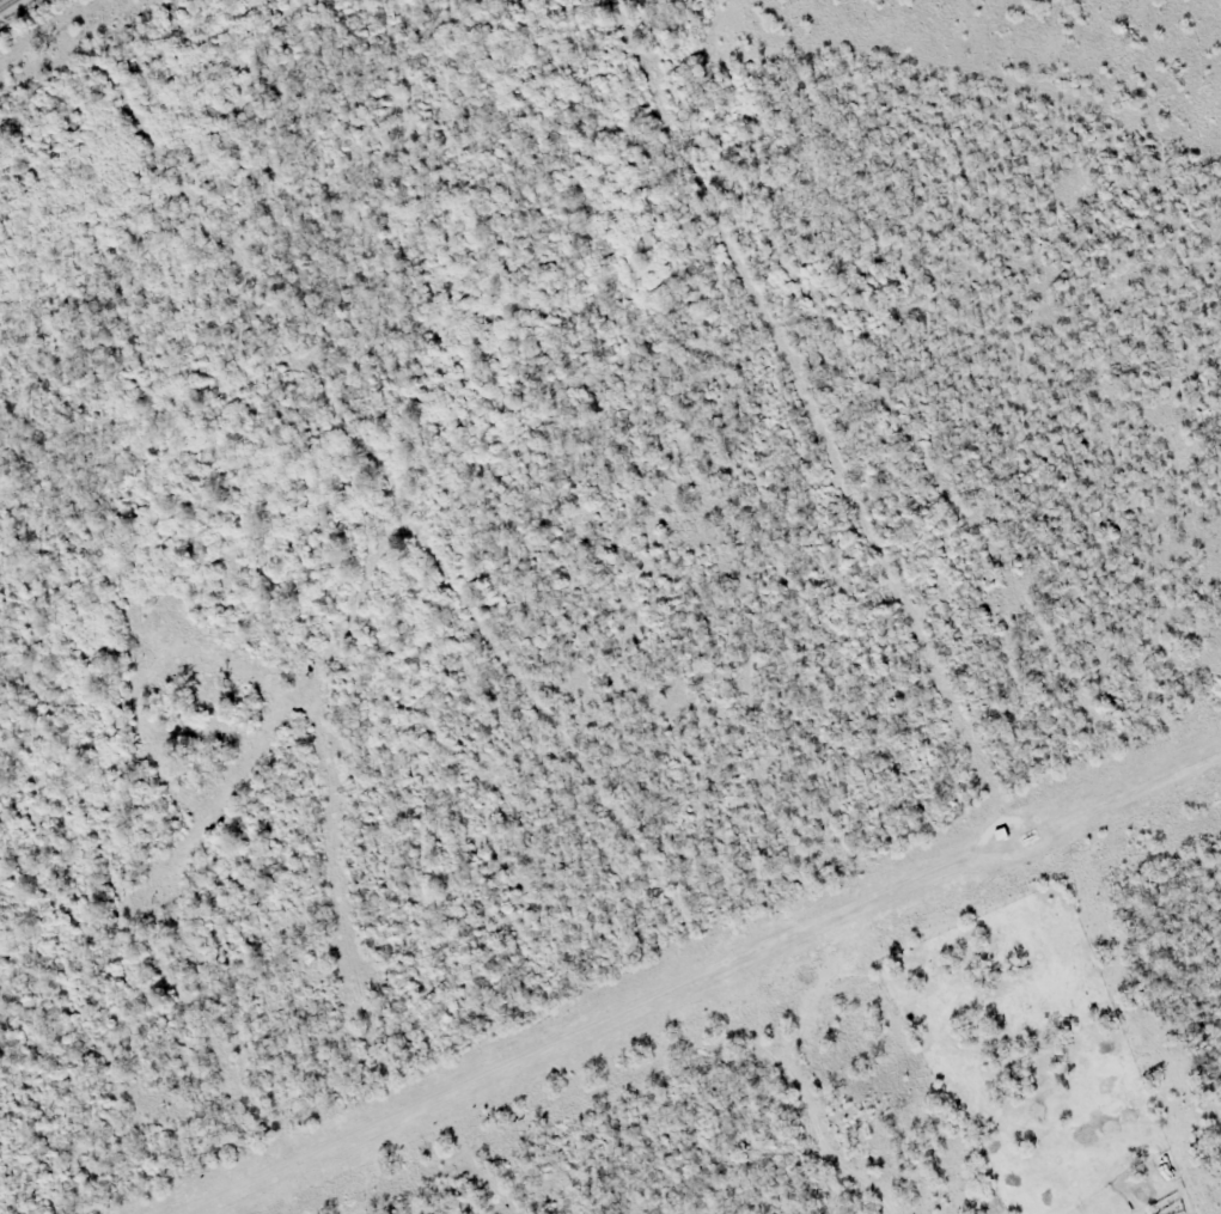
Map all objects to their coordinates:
railway: (8, 5)
building: (1119, 1183)

